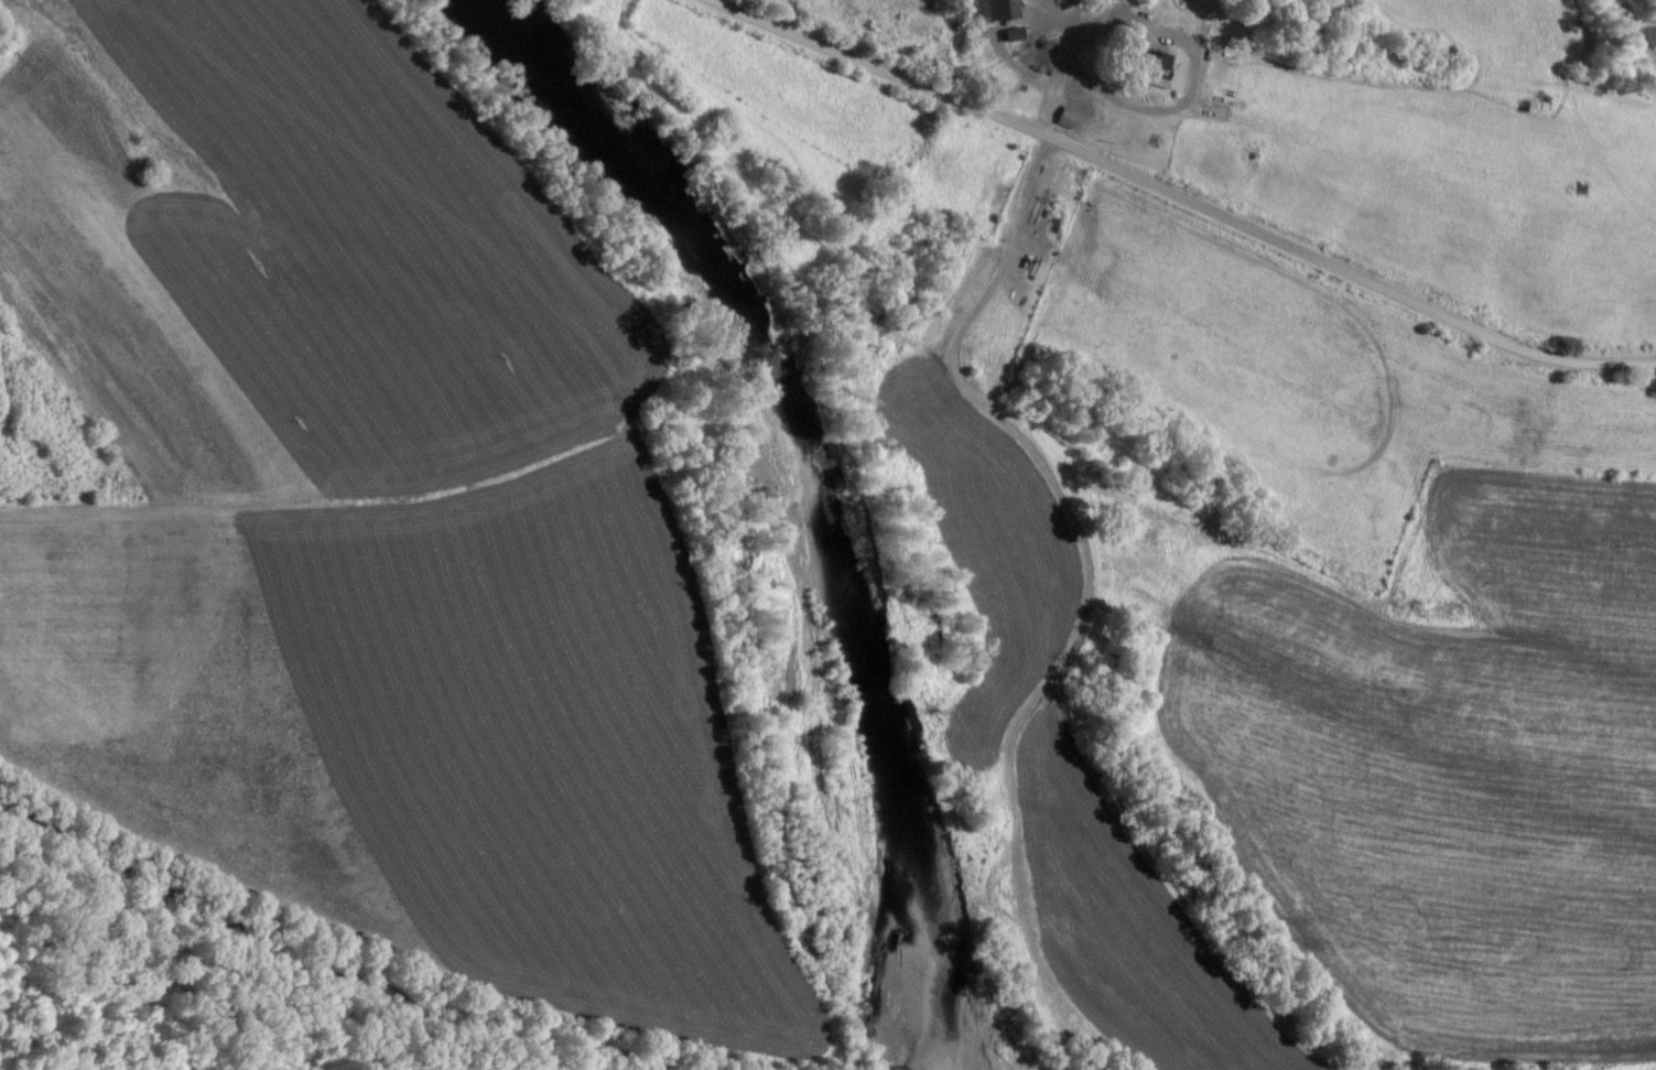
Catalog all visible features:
road: (1048, 62)
building: (1064, 119)
road: (1173, 196)
crop: (1372, 483)
river: (814, 490)
crop: (357, 520)

